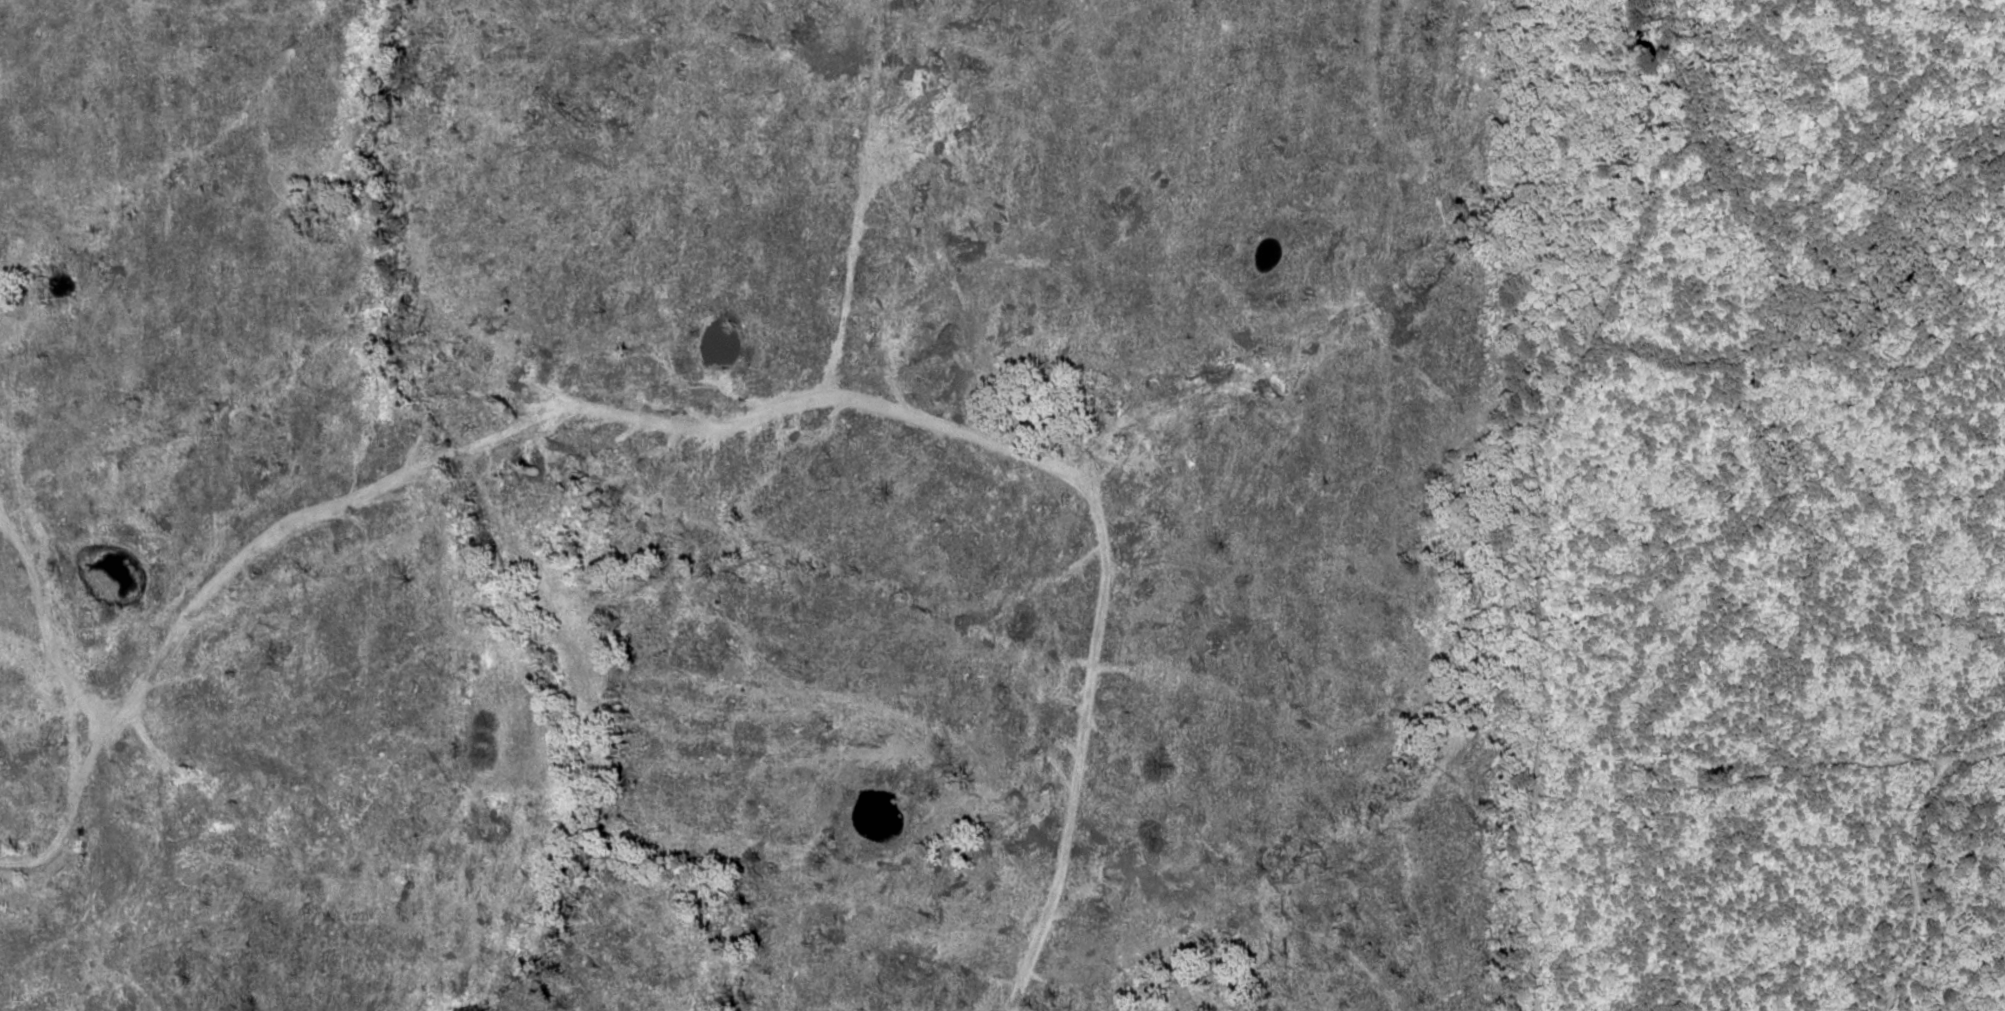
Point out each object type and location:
building: (55, 864)

